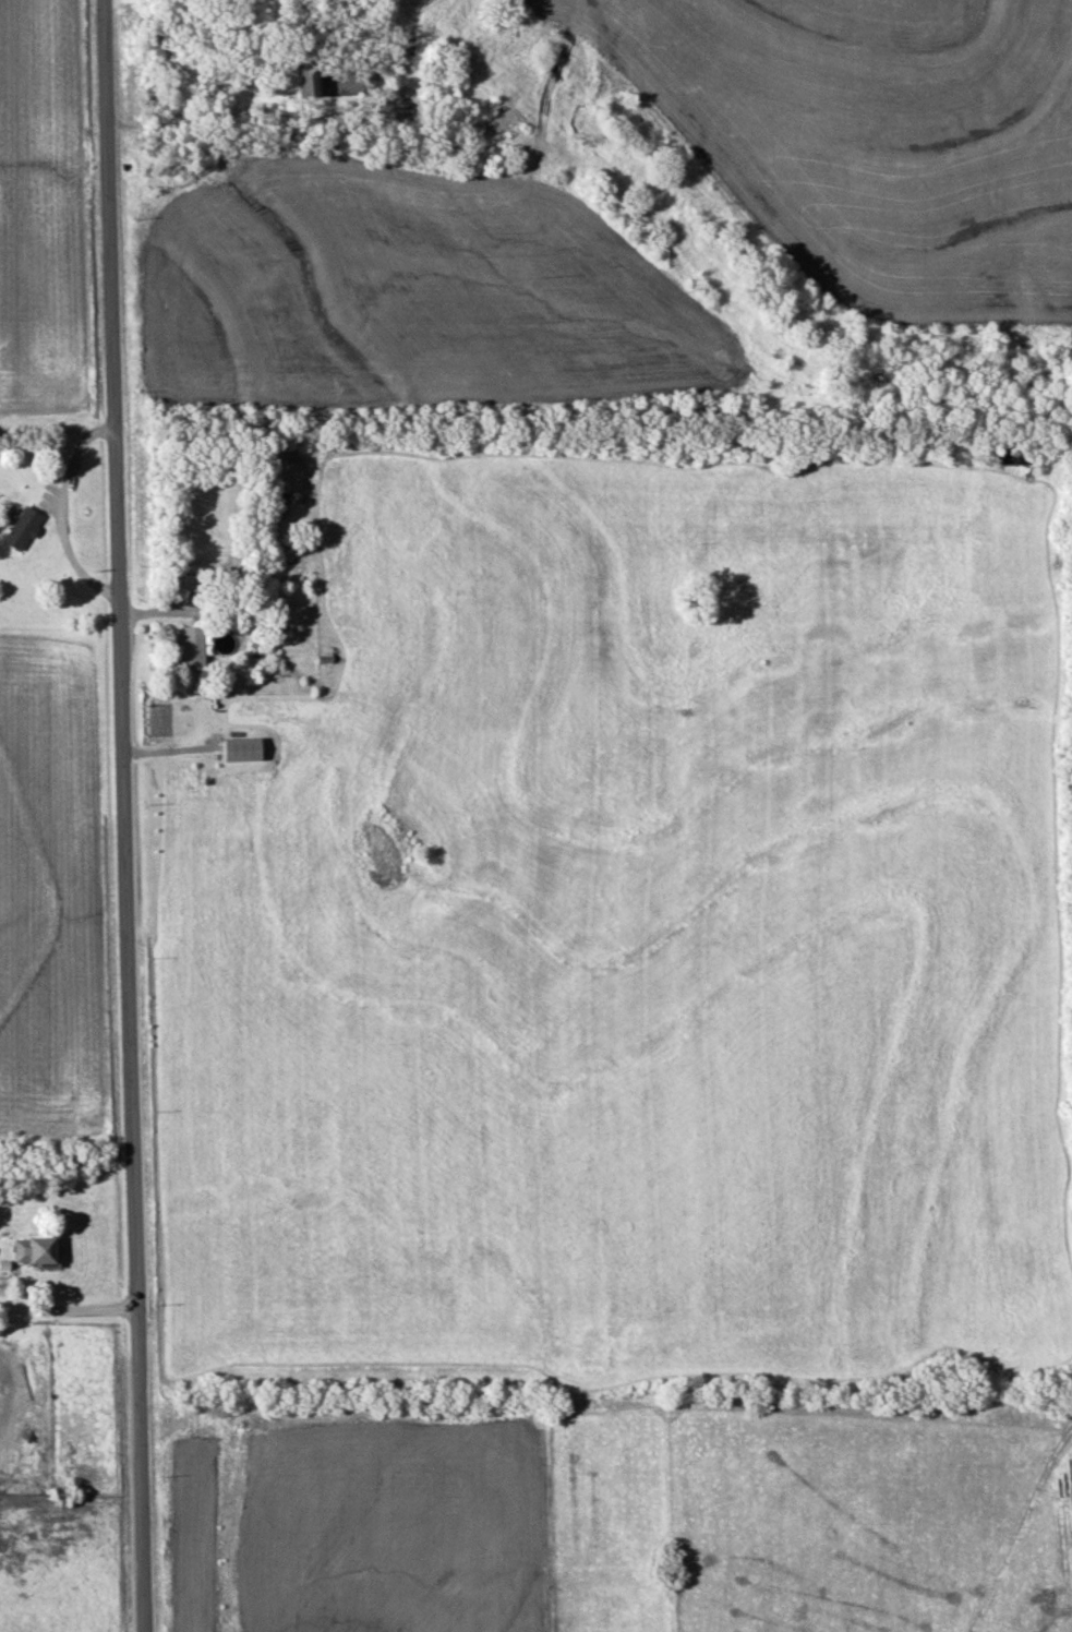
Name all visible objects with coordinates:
road: (60, 512)
building: (22, 530)
building: (192, 648)
road: (124, 815)
building: (29, 1251)
road: (68, 1311)

